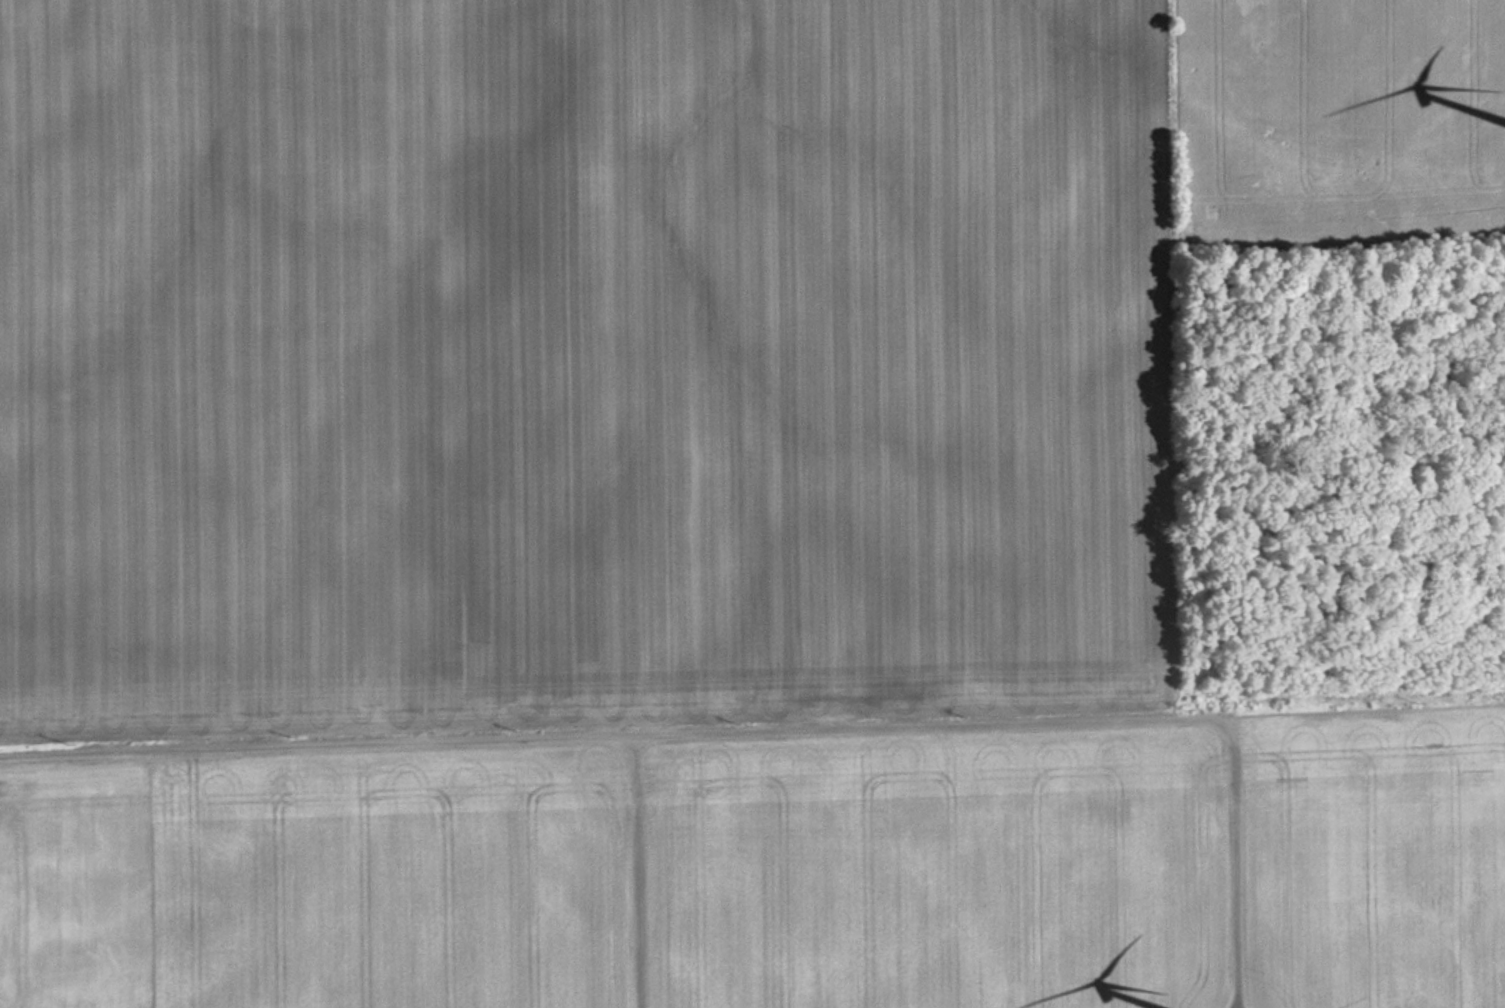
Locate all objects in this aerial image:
road: (933, 728)
road: (317, 750)

